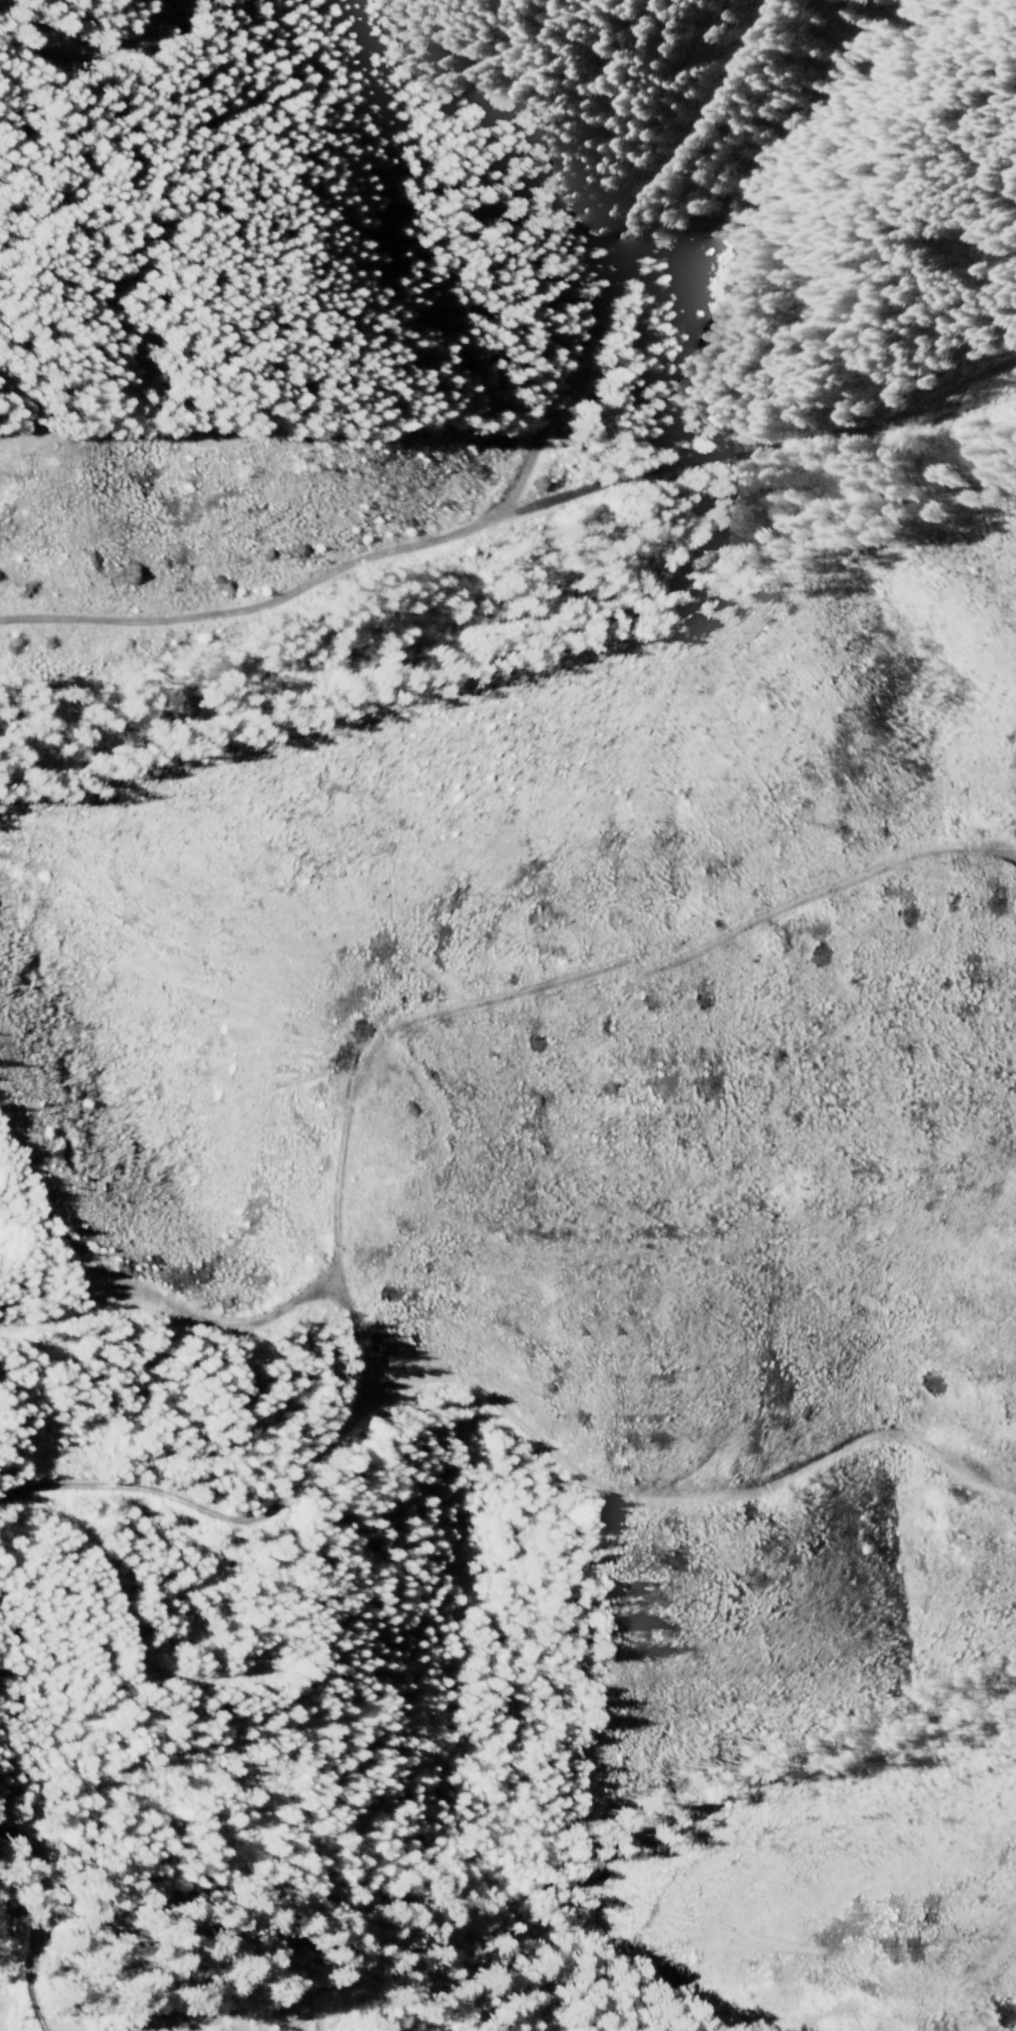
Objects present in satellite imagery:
road: (20, 1976)

